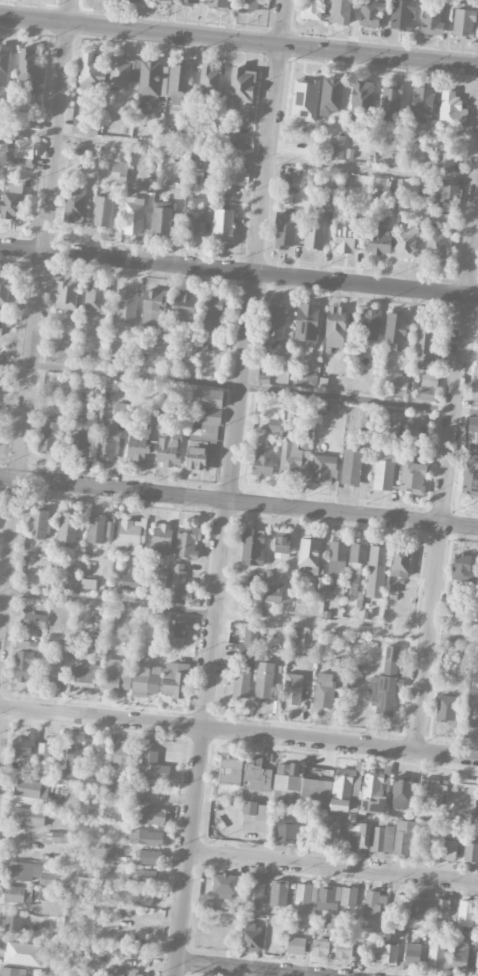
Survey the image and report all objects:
building: (131, 0)
building: (161, 1)
building: (191, 2)
building: (220, 4)
building: (249, 6)
building: (314, 9)
building: (341, 11)
building: (371, 13)
building: (403, 15)
building: (432, 22)
building: (464, 23)
road: (239, 39)
building: (28, 64)
building: (4, 65)
building: (91, 73)
building: (141, 76)
building: (210, 78)
building: (179, 84)
building: (26, 86)
building: (241, 87)
building: (331, 96)
building: (362, 97)
building: (391, 98)
building: (305, 99)
building: (422, 102)
building: (452, 107)
building: (20, 118)
building: (83, 126)
building: (230, 133)
building: (337, 146)
building: (21, 151)
road: (239, 156)
building: (444, 162)
building: (200, 163)
building: (119, 167)
building: (238, 175)
building: (285, 181)
building: (378, 184)
building: (424, 188)
building: (448, 196)
building: (329, 200)
building: (11, 202)
building: (74, 203)
building: (102, 211)
building: (133, 215)
building: (162, 217)
building: (195, 218)
building: (383, 220)
building: (223, 224)
building: (285, 232)
building: (315, 234)
building: (348, 237)
building: (378, 241)
building: (406, 241)
building: (436, 243)
road: (239, 271)
building: (5, 289)
building: (65, 294)
building: (95, 296)
building: (185, 304)
building: (126, 306)
building: (151, 307)
building: (213, 311)
road: (36, 320)
building: (276, 320)
building: (71, 322)
building: (306, 324)
building: (370, 324)
building: (336, 327)
building: (395, 331)
building: (426, 344)
building: (156, 347)
building: (192, 352)
building: (477, 357)
building: (306, 380)
building: (399, 384)
building: (428, 385)
road: (239, 386)
building: (475, 398)
building: (0, 401)
building: (120, 411)
building: (396, 423)
building: (274, 425)
building: (205, 426)
building: (49, 434)
building: (82, 434)
building: (138, 442)
building: (107, 443)
building: (169, 448)
building: (295, 458)
building: (263, 461)
building: (351, 466)
building: (324, 469)
building: (383, 470)
building: (470, 474)
road: (446, 475)
building: (413, 476)
road: (231, 488)
road: (238, 501)
building: (39, 523)
building: (68, 526)
building: (96, 529)
building: (109, 530)
building: (130, 533)
building: (161, 536)
building: (188, 542)
building: (282, 543)
building: (253, 547)
building: (309, 555)
building: (337, 557)
building: (401, 563)
building: (463, 567)
building: (376, 571)
building: (356, 574)
building: (163, 578)
building: (130, 580)
building: (177, 582)
building: (88, 583)
building: (72, 585)
building: (275, 592)
road: (238, 617)
building: (33, 620)
building: (177, 627)
building: (298, 635)
building: (64, 644)
building: (27, 645)
building: (245, 661)
building: (338, 664)
building: (24, 665)
building: (53, 673)
building: (86, 675)
building: (115, 675)
building: (145, 678)
building: (175, 679)
building: (264, 681)
building: (386, 683)
building: (292, 689)
building: (324, 690)
building: (446, 708)
building: (474, 710)
road: (1, 720)
road: (239, 731)
building: (23, 746)
building: (48, 751)
building: (121, 758)
building: (73, 761)
building: (153, 767)
building: (230, 768)
building: (256, 774)
building: (332, 788)
building: (434, 788)
building: (32, 789)
building: (136, 792)
building: (401, 792)
building: (465, 792)
building: (91, 807)
building: (154, 815)
building: (28, 816)
building: (263, 818)
building: (288, 831)
building: (363, 836)
building: (57, 837)
building: (146, 837)
building: (448, 850)
building: (471, 853)
building: (150, 857)
road: (334, 867)
building: (31, 873)
building: (144, 877)
building: (84, 883)
building: (224, 885)
building: (256, 891)
building: (279, 892)
building: (17, 894)
building: (145, 896)
building: (335, 897)
building: (303, 898)
building: (205, 900)
building: (373, 904)
building: (416, 905)
building: (441, 908)
building: (466, 912)
building: (12, 922)
building: (330, 929)
building: (251, 937)
building: (297, 945)
building: (322, 948)
building: (343, 949)
building: (22, 953)
building: (386, 953)
building: (412, 954)
building: (438, 956)
building: (460, 957)
building: (477, 963)
road: (246, 969)
building: (11, 971)
building: (124, 972)
building: (52, 973)

